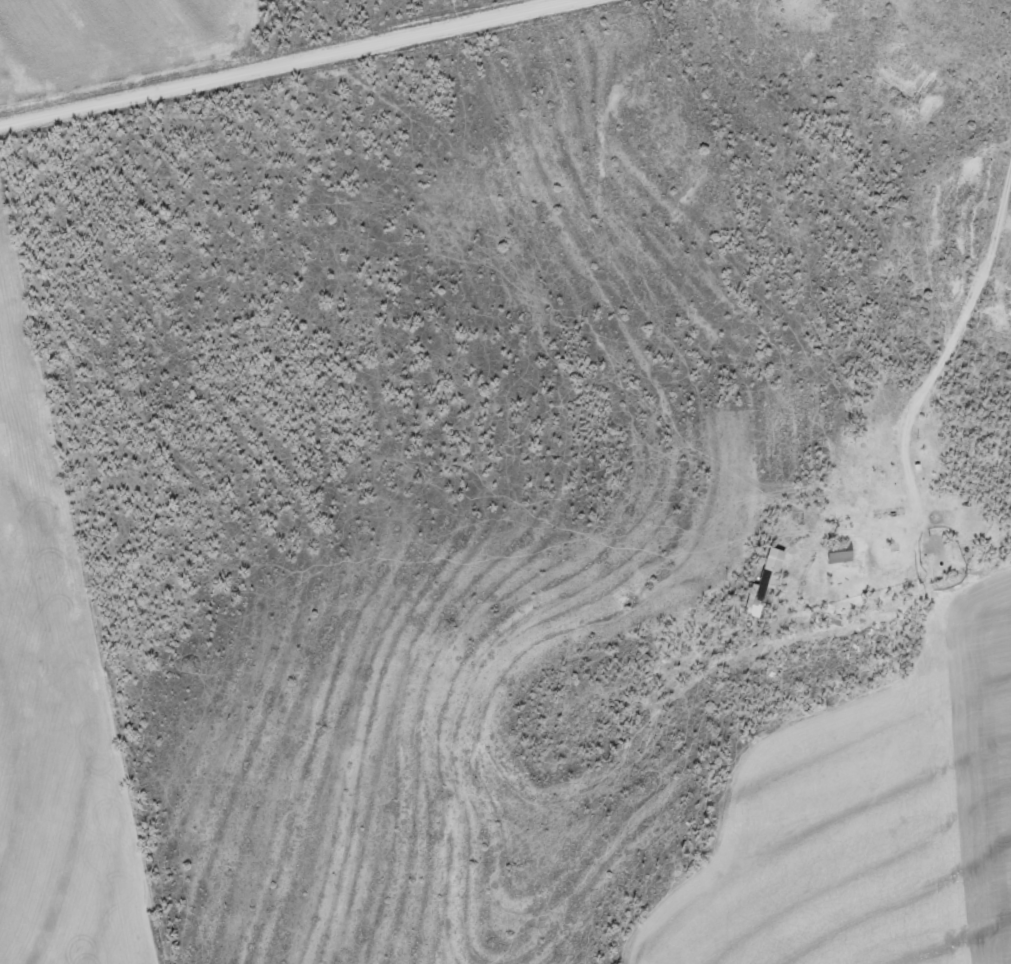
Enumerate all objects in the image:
road: (293, 64)
road: (948, 304)

